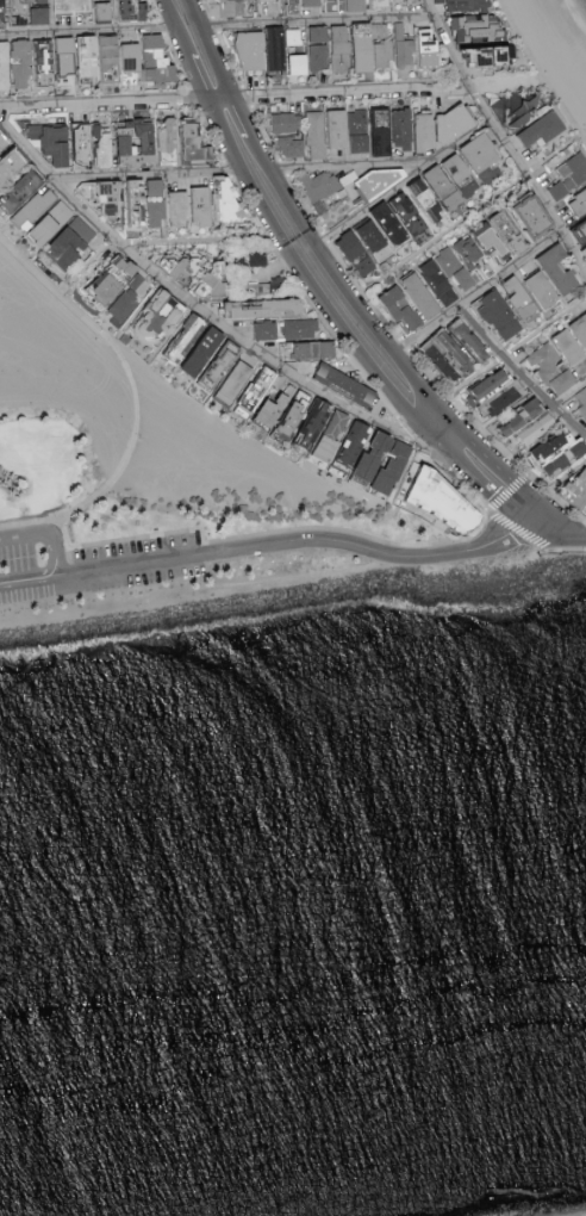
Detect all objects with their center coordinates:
building: (268, 0)
building: (285, 1)
building: (2, 4)
building: (73, 6)
building: (347, 6)
building: (232, 7)
building: (135, 11)
building: (107, 12)
road: (318, 23)
road: (177, 27)
road: (89, 33)
building: (469, 41)
building: (282, 46)
building: (404, 46)
building: (373, 48)
road: (212, 49)
building: (342, 49)
building: (431, 50)
building: (253, 51)
building: (314, 52)
building: (89, 57)
building: (158, 61)
building: (121, 62)
building: (66, 63)
building: (15, 66)
road: (542, 70)
road: (200, 76)
road: (273, 95)
road: (244, 117)
building: (525, 117)
building: (455, 123)
building: (287, 124)
building: (372, 131)
building: (426, 132)
building: (316, 135)
building: (169, 138)
road: (503, 141)
building: (5, 143)
building: (55, 143)
building: (139, 143)
building: (197, 144)
building: (292, 148)
building: (104, 149)
building: (481, 154)
road: (353, 166)
building: (12, 168)
building: (457, 169)
building: (567, 174)
road: (148, 176)
building: (385, 182)
building: (325, 184)
road: (403, 185)
building: (445, 188)
building: (231, 200)
building: (575, 200)
building: (430, 201)
building: (201, 206)
building: (35, 209)
building: (181, 210)
building: (520, 215)
road: (467, 218)
building: (400, 219)
building: (51, 224)
building: (374, 238)
building: (71, 243)
road: (162, 243)
building: (359, 255)
building: (457, 265)
building: (550, 269)
road: (338, 284)
building: (121, 291)
building: (540, 291)
building: (420, 294)
road: (479, 296)
building: (513, 299)
building: (270, 310)
building: (403, 311)
road: (202, 314)
building: (492, 315)
building: (161, 318)
building: (301, 329)
building: (576, 329)
building: (267, 331)
road: (349, 336)
building: (461, 340)
building: (188, 341)
building: (316, 352)
building: (206, 353)
building: (437, 355)
building: (550, 361)
park: (73, 372)
park: (32, 373)
road: (129, 373)
road: (520, 376)
building: (237, 381)
building: (348, 386)
road: (466, 386)
building: (258, 391)
building: (487, 393)
road: (569, 397)
building: (580, 401)
building: (274, 411)
building: (298, 415)
park: (105, 418)
building: (526, 428)
building: (324, 430)
building: (354, 446)
building: (550, 452)
building: (386, 461)
park: (50, 464)
road: (499, 469)
building: (361, 480)
road: (553, 486)
building: (574, 492)
building: (447, 498)
road: (32, 521)
road: (567, 529)
road: (27, 533)
road: (307, 540)
road: (57, 551)
parking lot: (98, 569)
road: (30, 579)

